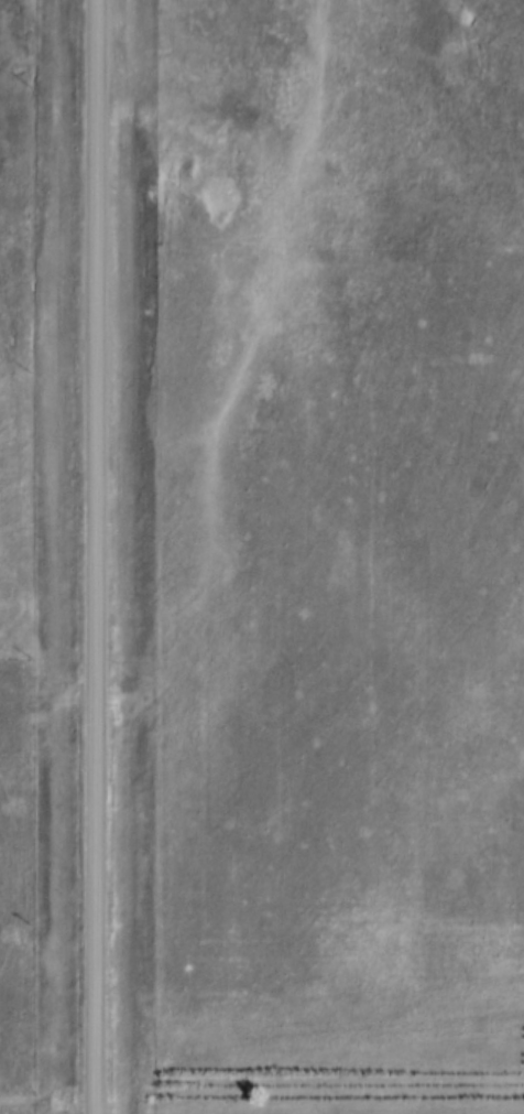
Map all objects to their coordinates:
road: (97, 556)
road: (48, 1103)

